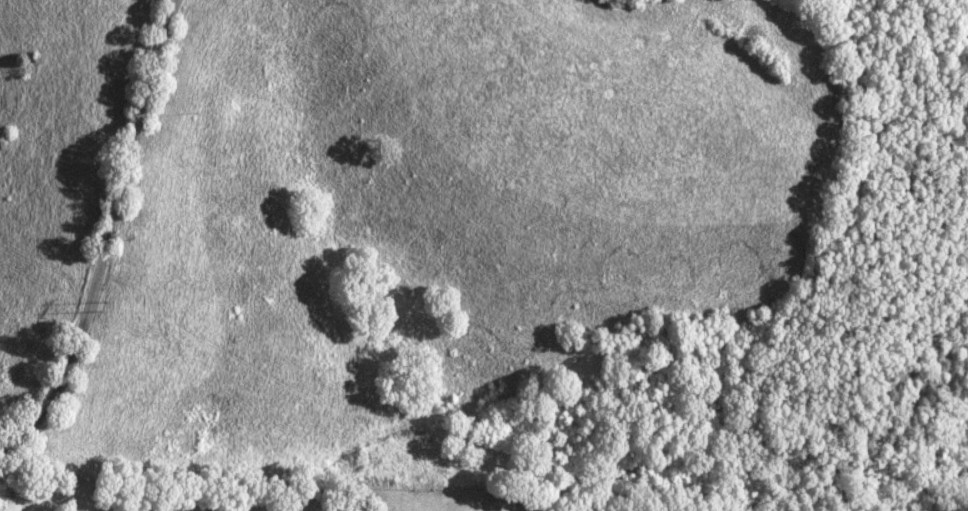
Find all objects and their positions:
road: (107, 238)
power tower: (102, 309)

